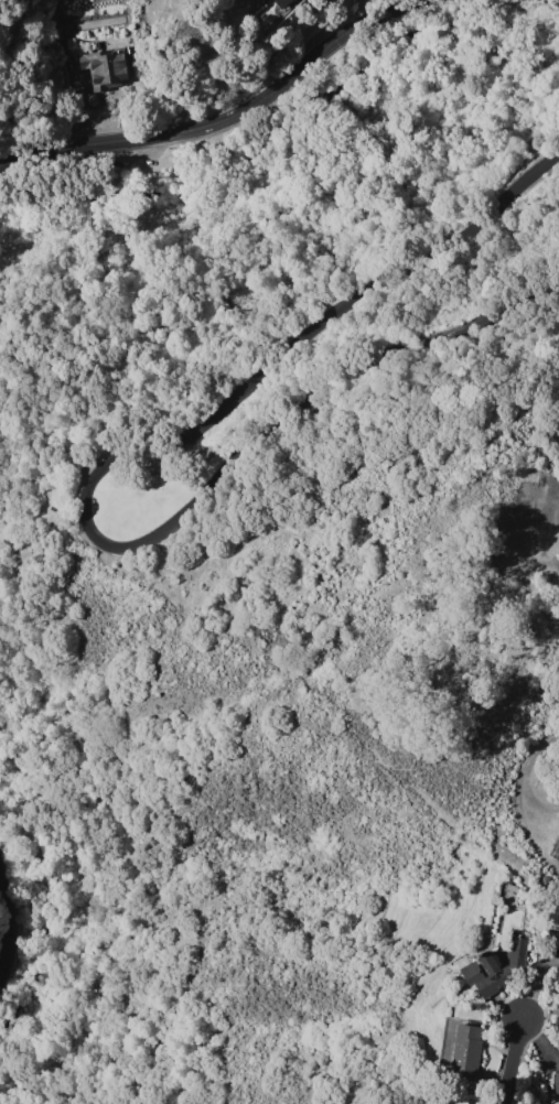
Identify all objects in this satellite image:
building: (282, 3)
building: (106, 67)
road: (237, 122)
road: (92, 499)
road: (542, 770)
road: (546, 809)
road: (544, 835)
road: (4, 928)
building: (557, 939)
building: (495, 970)
building: (465, 1053)
road: (514, 1062)
building: (556, 1083)

